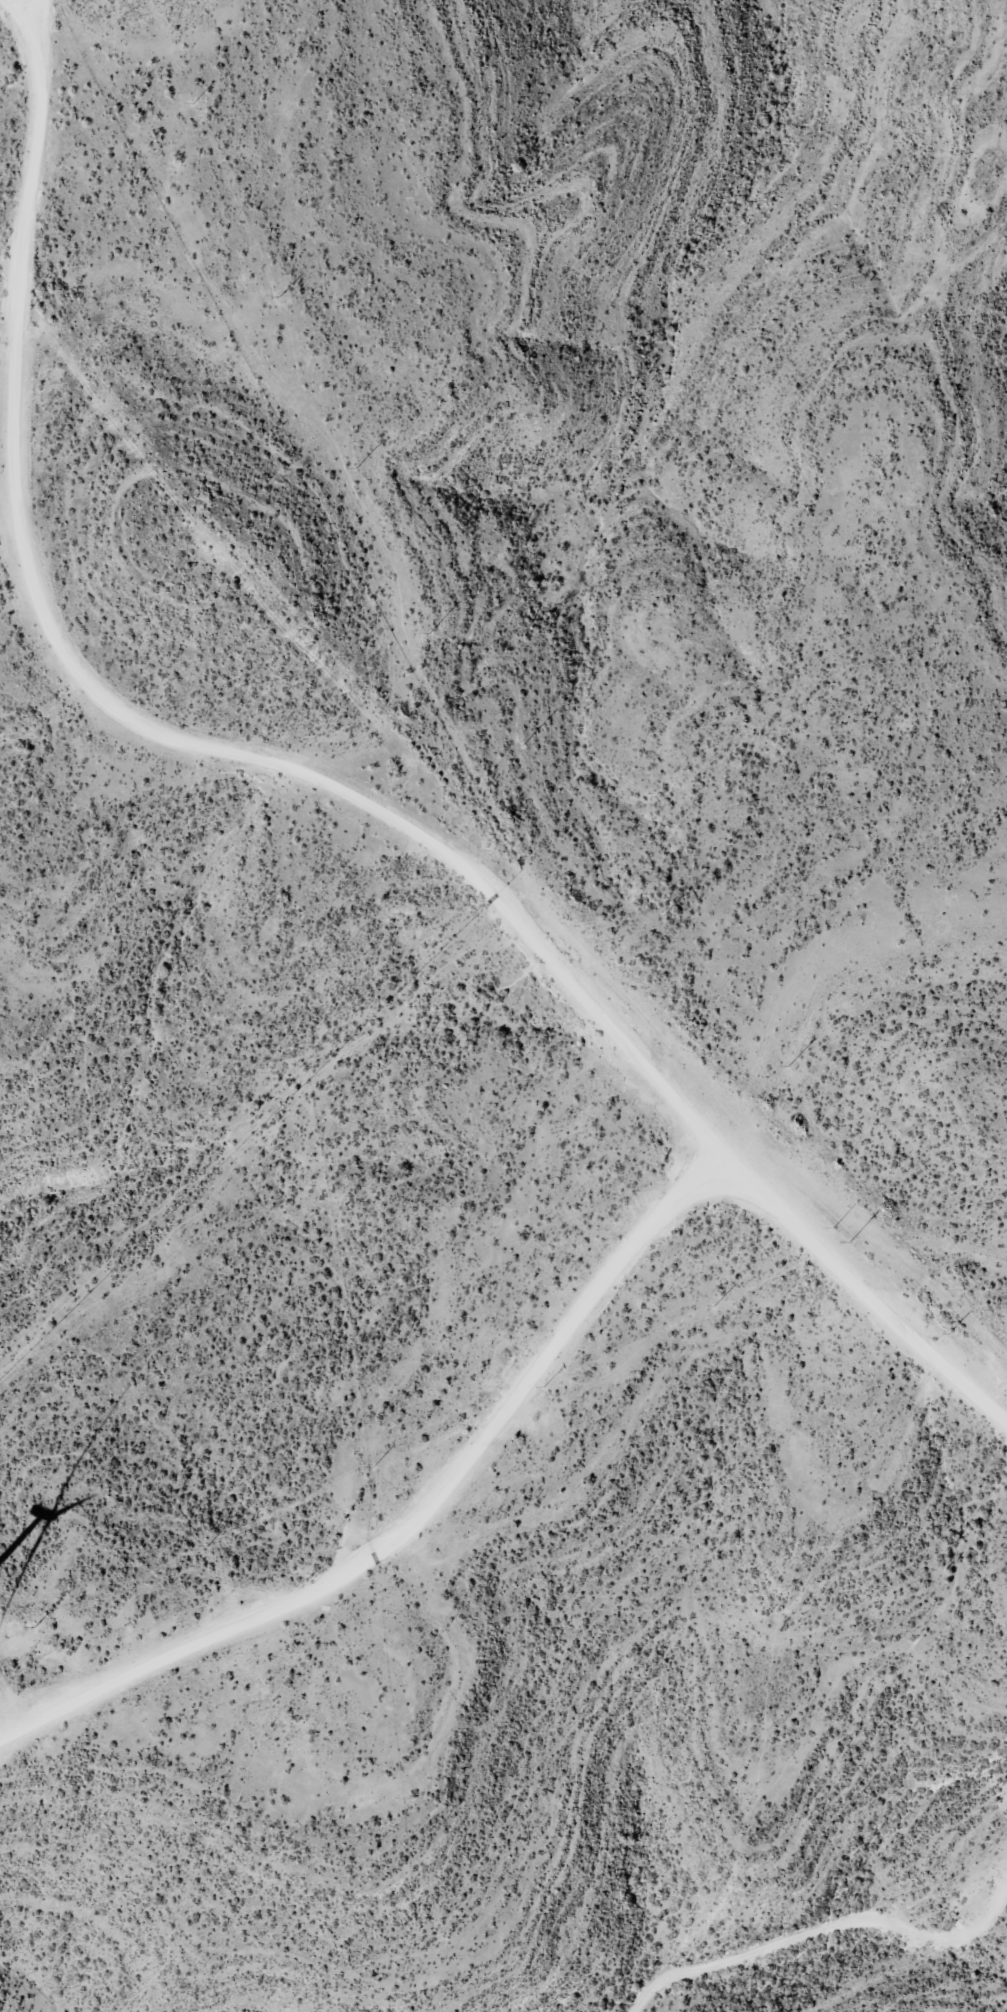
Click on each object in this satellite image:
road: (529, 1460)
road: (842, 1951)

